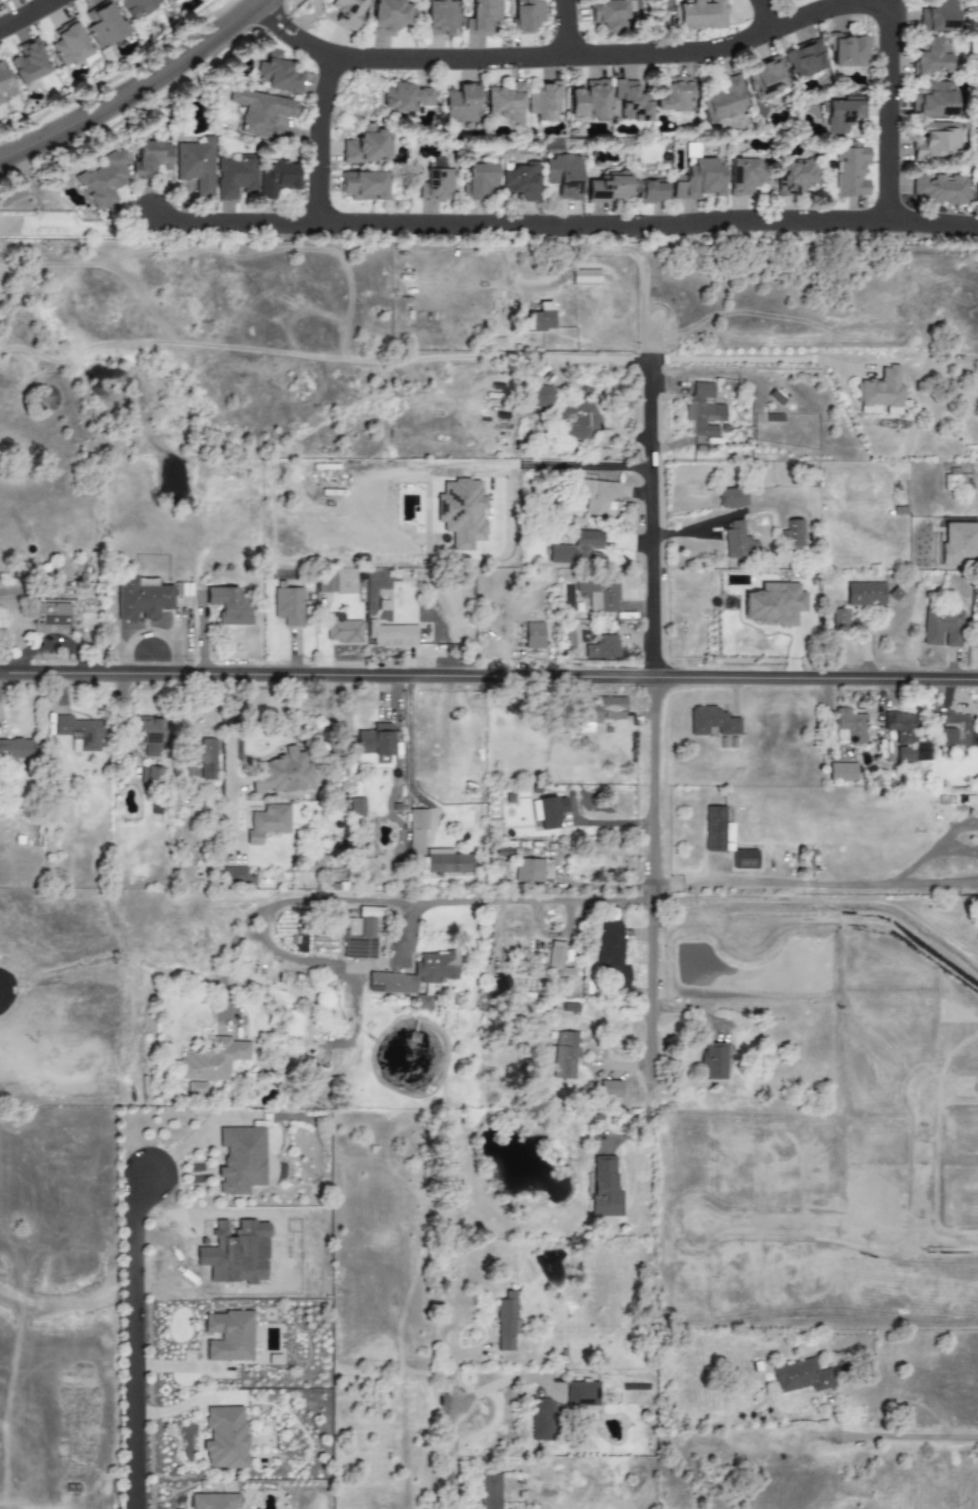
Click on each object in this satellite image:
building: (1, 0)
building: (787, 1)
building: (172, 2)
building: (136, 7)
building: (347, 13)
road: (26, 14)
building: (607, 14)
road: (764, 14)
building: (525, 15)
building: (699, 15)
building: (388, 16)
building: (480, 16)
building: (937, 16)
building: (440, 19)
building: (104, 24)
road: (563, 28)
building: (69, 45)
building: (848, 51)
building: (931, 56)
road: (557, 57)
building: (803, 60)
building: (28, 63)
building: (278, 74)
building: (764, 79)
building: (5, 85)
road: (134, 88)
building: (672, 94)
building: (406, 97)
building: (722, 99)
building: (588, 100)
building: (933, 100)
building: (542, 102)
building: (628, 102)
building: (460, 104)
building: (505, 104)
road: (886, 107)
building: (260, 111)
building: (839, 114)
road: (317, 139)
building: (933, 140)
building: (366, 146)
building: (151, 159)
building: (196, 166)
building: (850, 172)
building: (745, 175)
building: (563, 176)
building: (793, 176)
building: (235, 178)
road: (27, 179)
building: (276, 179)
building: (104, 180)
building: (479, 181)
building: (520, 181)
building: (697, 181)
building: (436, 184)
building: (363, 186)
building: (624, 189)
building: (938, 189)
road: (16, 194)
building: (975, 194)
road: (233, 223)
road: (647, 225)
road: (578, 248)
building: (537, 319)
road: (750, 359)
building: (880, 390)
building: (538, 396)
building: (703, 411)
building: (577, 421)
road: (612, 424)
road: (540, 465)
building: (952, 479)
building: (596, 496)
building: (732, 498)
building: (461, 513)
road: (718, 518)
building: (792, 534)
building: (738, 541)
building: (959, 544)
building: (577, 549)
building: (326, 584)
building: (599, 594)
building: (864, 594)
building: (141, 600)
building: (774, 604)
building: (228, 606)
building: (288, 606)
building: (49, 613)
building: (840, 618)
building: (942, 628)
building: (342, 629)
building: (392, 635)
building: (534, 636)
building: (603, 648)
road: (489, 674)
road: (653, 681)
building: (604, 710)
building: (712, 722)
building: (848, 727)
building: (901, 727)
building: (953, 729)
building: (78, 733)
building: (147, 736)
building: (374, 745)
road: (408, 747)
building: (16, 749)
building: (904, 754)
building: (205, 758)
road: (229, 758)
building: (841, 772)
building: (280, 773)
building: (150, 775)
building: (355, 806)
building: (64, 811)
building: (548, 811)
building: (417, 819)
building: (267, 823)
building: (716, 830)
building: (415, 847)
building: (743, 859)
building: (447, 862)
building: (528, 870)
building: (235, 876)
road: (806, 898)
road: (370, 901)
road: (934, 928)
building: (359, 935)
building: (612, 955)
road: (227, 960)
building: (550, 965)
building: (415, 974)
building: (499, 986)
building: (423, 1002)
building: (294, 1023)
building: (564, 1054)
building: (212, 1060)
building: (713, 1061)
building: (197, 1088)
building: (609, 1088)
road: (644, 1116)
building: (240, 1159)
building: (604, 1187)
building: (505, 1322)
building: (228, 1336)
road: (138, 1338)
building: (801, 1376)
road: (501, 1382)
building: (581, 1394)
building: (539, 1419)
road: (897, 1436)
building: (224, 1437)
road: (450, 1455)
building: (489, 1492)
building: (215, 1501)

